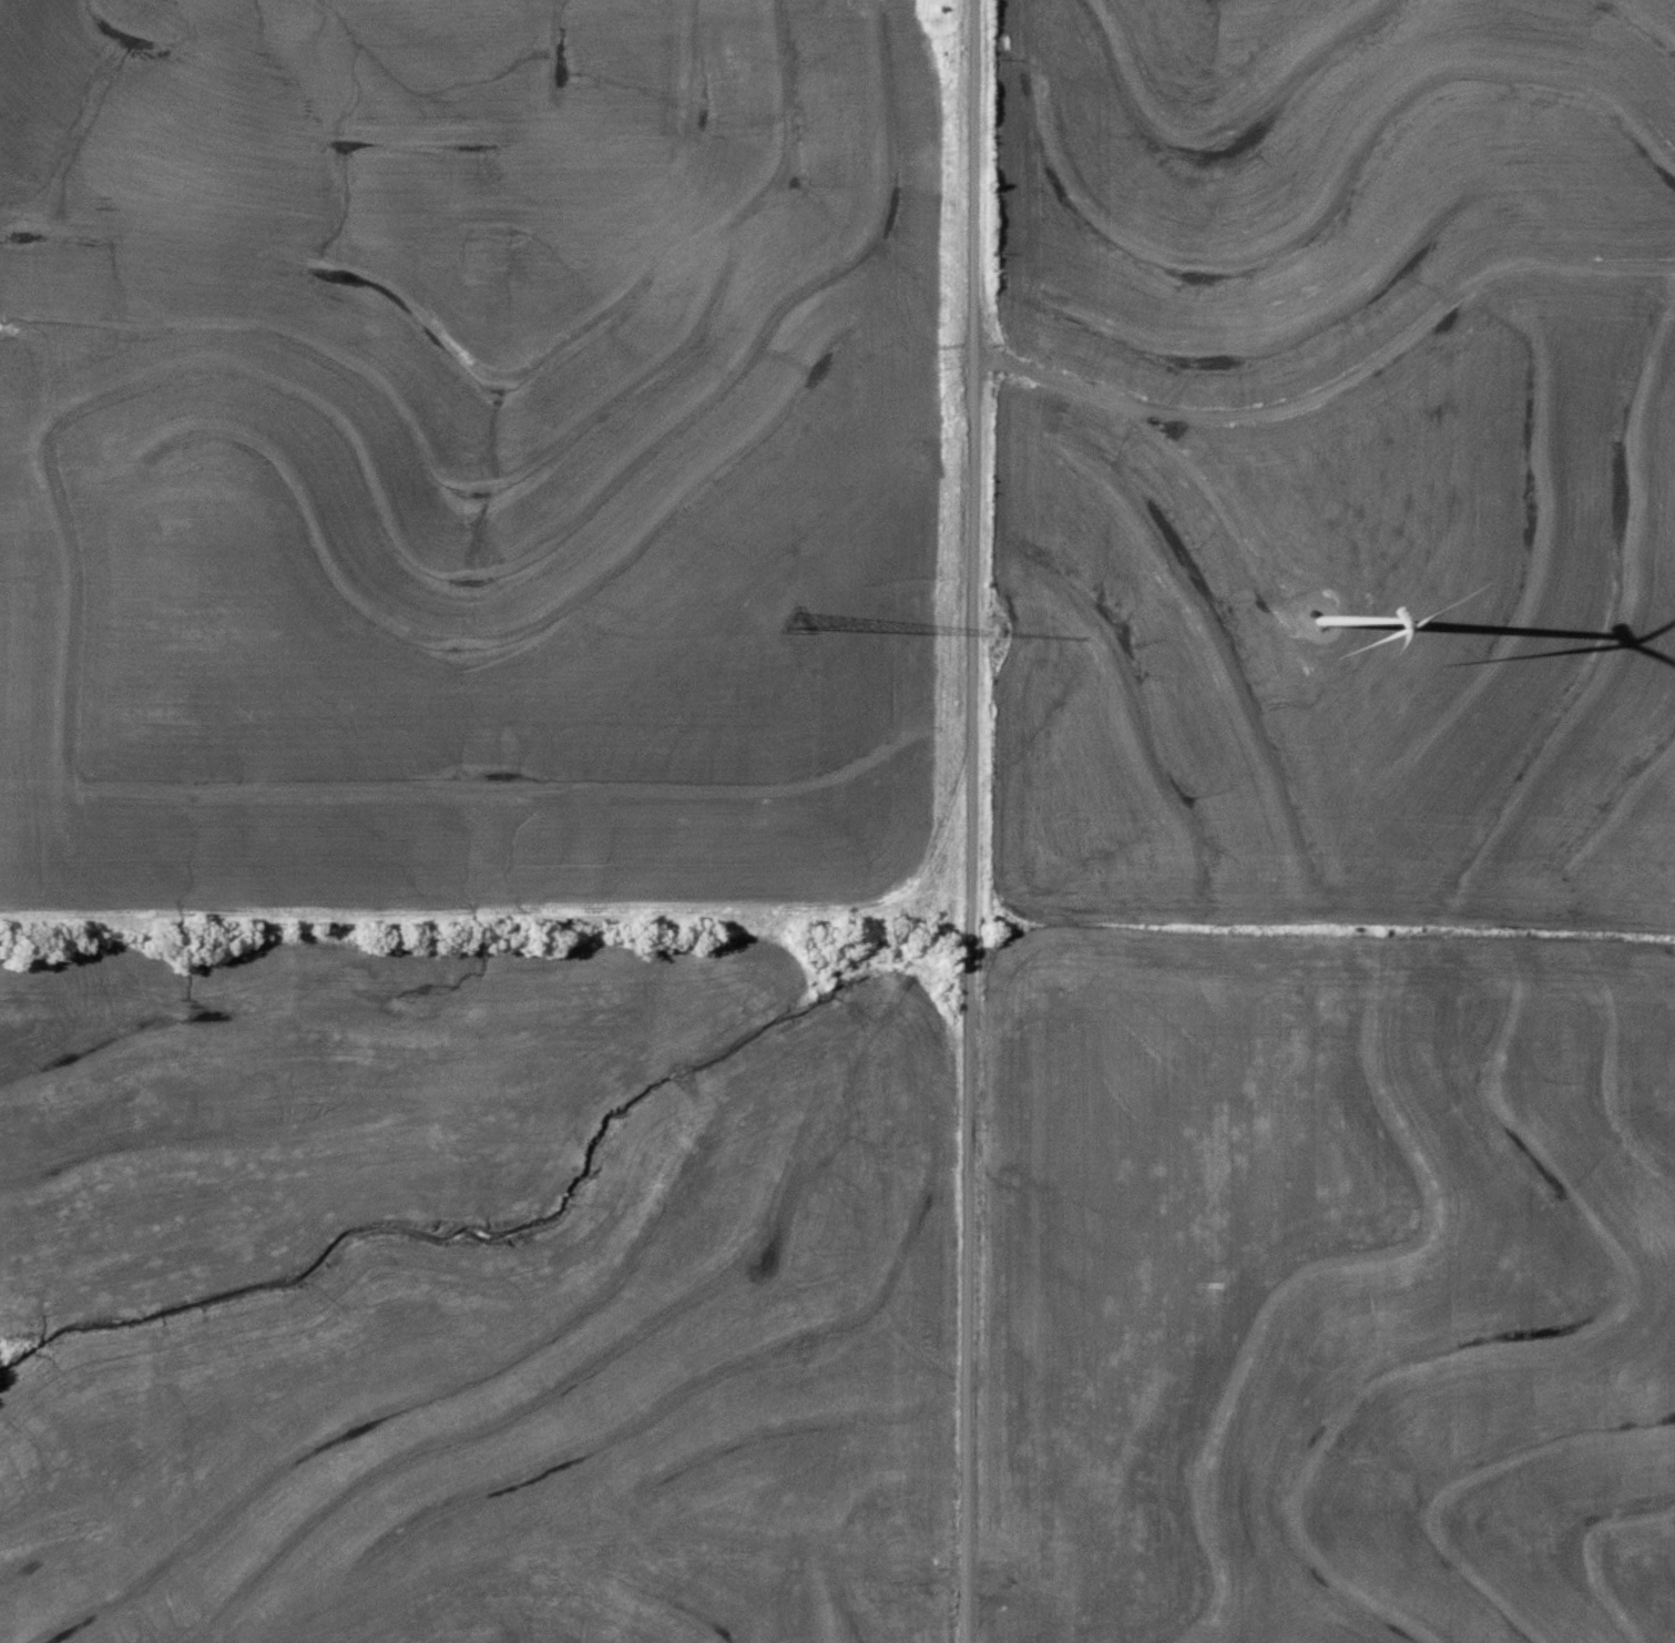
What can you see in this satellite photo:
wind turbine: (1301, 635)
road: (969, 822)

